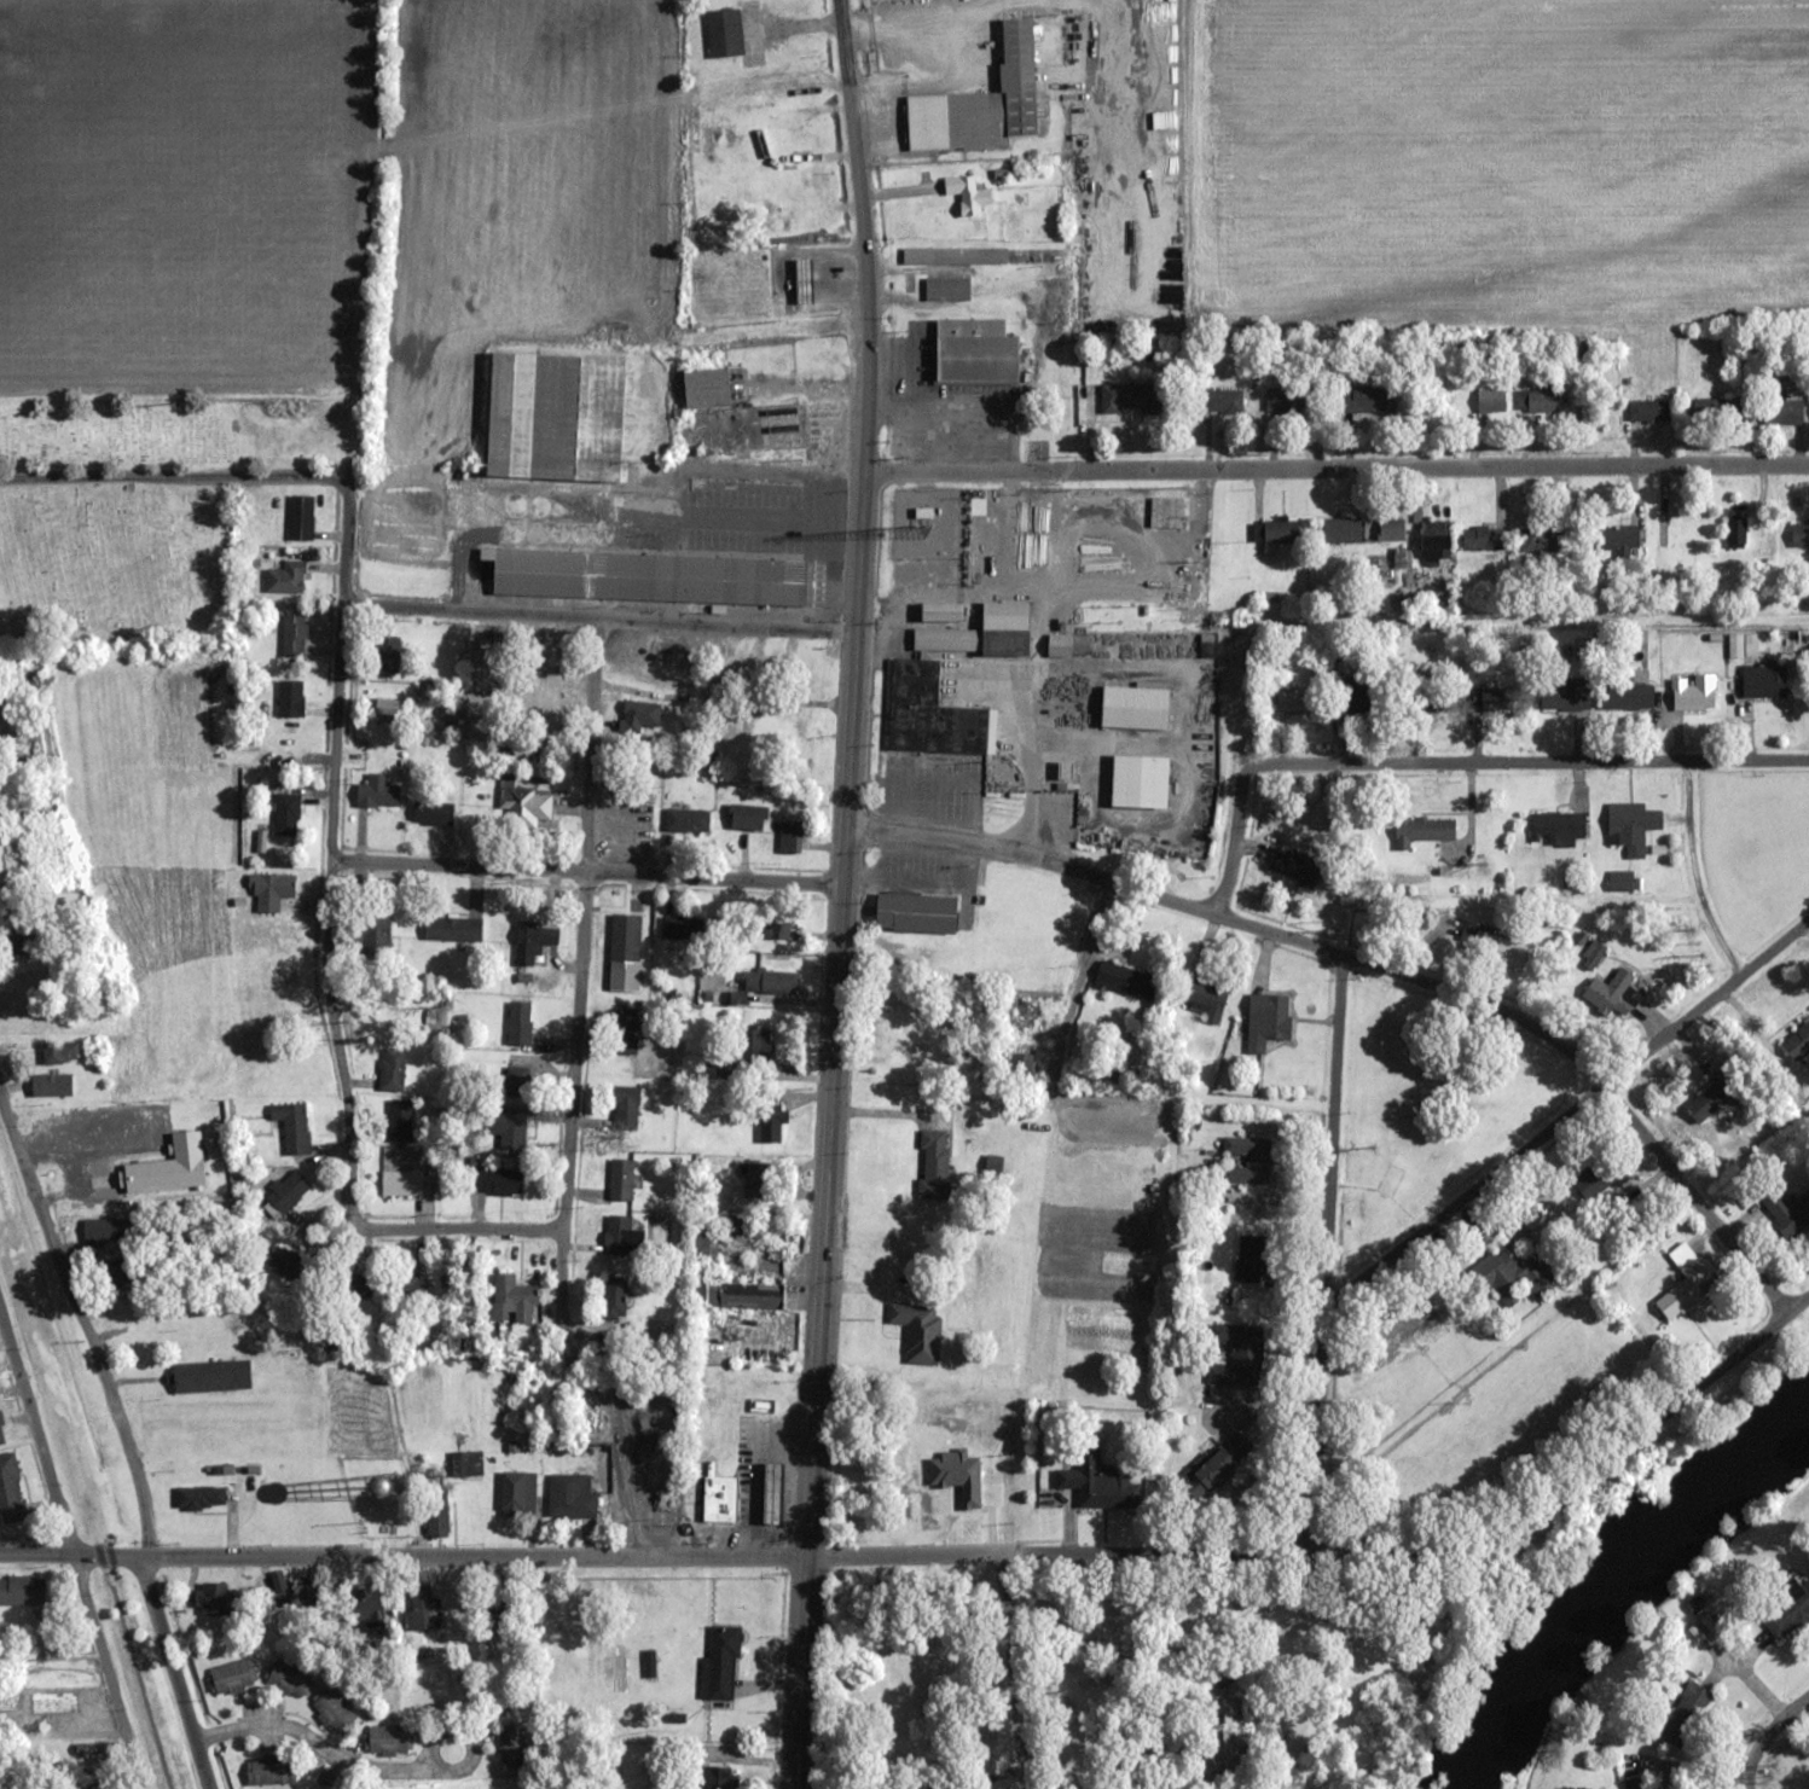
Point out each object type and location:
building: (725, 33)
building: (995, 99)
building: (778, 132)
building: (785, 172)
building: (968, 193)
building: (792, 227)
building: (953, 255)
building: (947, 289)
building: (974, 352)
building: (706, 388)
building: (1133, 397)
building: (1356, 399)
building: (1491, 400)
building: (1537, 400)
building: (1289, 401)
building: (1222, 402)
building: (1785, 406)
building: (1649, 410)
building: (1714, 411)
building: (556, 416)
road: (1335, 471)
road: (767, 472)
building: (1165, 512)
building: (301, 517)
building: (1391, 528)
building: (1339, 529)
building: (1279, 530)
building: (1736, 534)
building: (1799, 534)
building: (1483, 536)
building: (1620, 536)
building: (1436, 538)
building: (1542, 538)
building: (650, 576)
building: (286, 577)
building: (941, 611)
building: (1005, 615)
road: (599, 618)
building: (294, 633)
building: (947, 639)
building: (1068, 645)
building: (385, 652)
road: (599, 654)
building: (1764, 679)
road: (337, 681)
building: (1357, 691)
building: (1693, 692)
building: (1432, 695)
building: (1569, 695)
building: (1629, 695)
building: (290, 698)
building: (1491, 698)
building: (1294, 701)
building: (1133, 703)
building: (385, 710)
building: (640, 713)
building: (929, 714)
road: (1526, 763)
building: (1140, 780)
building: (377, 792)
building: (527, 806)
building: (440, 813)
building: (286, 814)
building: (747, 818)
building: (682, 819)
building: (1631, 825)
building: (1558, 827)
building: (1424, 830)
building: (790, 837)
road: (1234, 842)
building: (1295, 866)
road: (586, 872)
road: (1694, 873)
building: (1620, 879)
building: (274, 888)
road: (842, 894)
building: (916, 912)
building: (781, 922)
building: (680, 927)
building: (453, 928)
building: (373, 933)
building: (535, 935)
building: (18, 945)
building: (625, 952)
building: (1507, 952)
building: (1593, 954)
road: (1376, 968)
road: (1079, 980)
building: (1125, 980)
building: (769, 981)
building: (1613, 993)
building: (1207, 1000)
road: (579, 1012)
building: (1024, 1013)
building: (1268, 1020)
building: (518, 1023)
building: (626, 1030)
building: (1798, 1042)
building: (749, 1047)
building: (60, 1052)
building: (1022, 1067)
building: (392, 1069)
building: (511, 1084)
building: (53, 1088)
building: (1718, 1091)
building: (624, 1105)
road: (1566, 1117)
building: (400, 1121)
building: (771, 1123)
building: (106, 1126)
building: (292, 1126)
building: (509, 1128)
building: (1247, 1160)
building: (934, 1164)
building: (621, 1179)
building: (755, 1180)
building: (498, 1181)
building: (401, 1183)
building: (288, 1191)
building: (1786, 1210)
road: (457, 1227)
building: (108, 1230)
building: (622, 1236)
building: (703, 1244)
building: (1252, 1256)
road: (1328, 1257)
building: (285, 1262)
building: (117, 1272)
building: (1509, 1274)
building: (1683, 1282)
building: (354, 1285)
building: (752, 1295)
building: (511, 1300)
building: (615, 1306)
building: (918, 1330)
building: (1239, 1355)
building: (211, 1376)
building: (1, 1433)
road: (123, 1435)
building: (1219, 1466)
building: (1098, 1481)
building: (10, 1491)
building: (772, 1493)
building: (517, 1494)
building: (572, 1497)
building: (199, 1498)
building: (720, 1499)
building: (481, 1514)
building: (436, 1515)
building: (458, 1520)
road: (953, 1556)
road: (71, 1557)
building: (280, 1585)
river: (1619, 1586)
building: (22, 1592)
building: (307, 1592)
building: (211, 1598)
building: (370, 1603)
building: (499, 1605)
building: (424, 1609)
building: (1786, 1609)
building: (457, 1620)
building: (719, 1665)
road: (1014, 1672)
building: (231, 1677)
building: (289, 1678)
building: (334, 1712)
building: (1686, 1713)
building: (1224, 1737)
road: (1767, 1737)
building: (388, 1739)
building: (511, 1746)
building: (88, 1749)
building: (271, 1770)
building: (1637, 1783)

